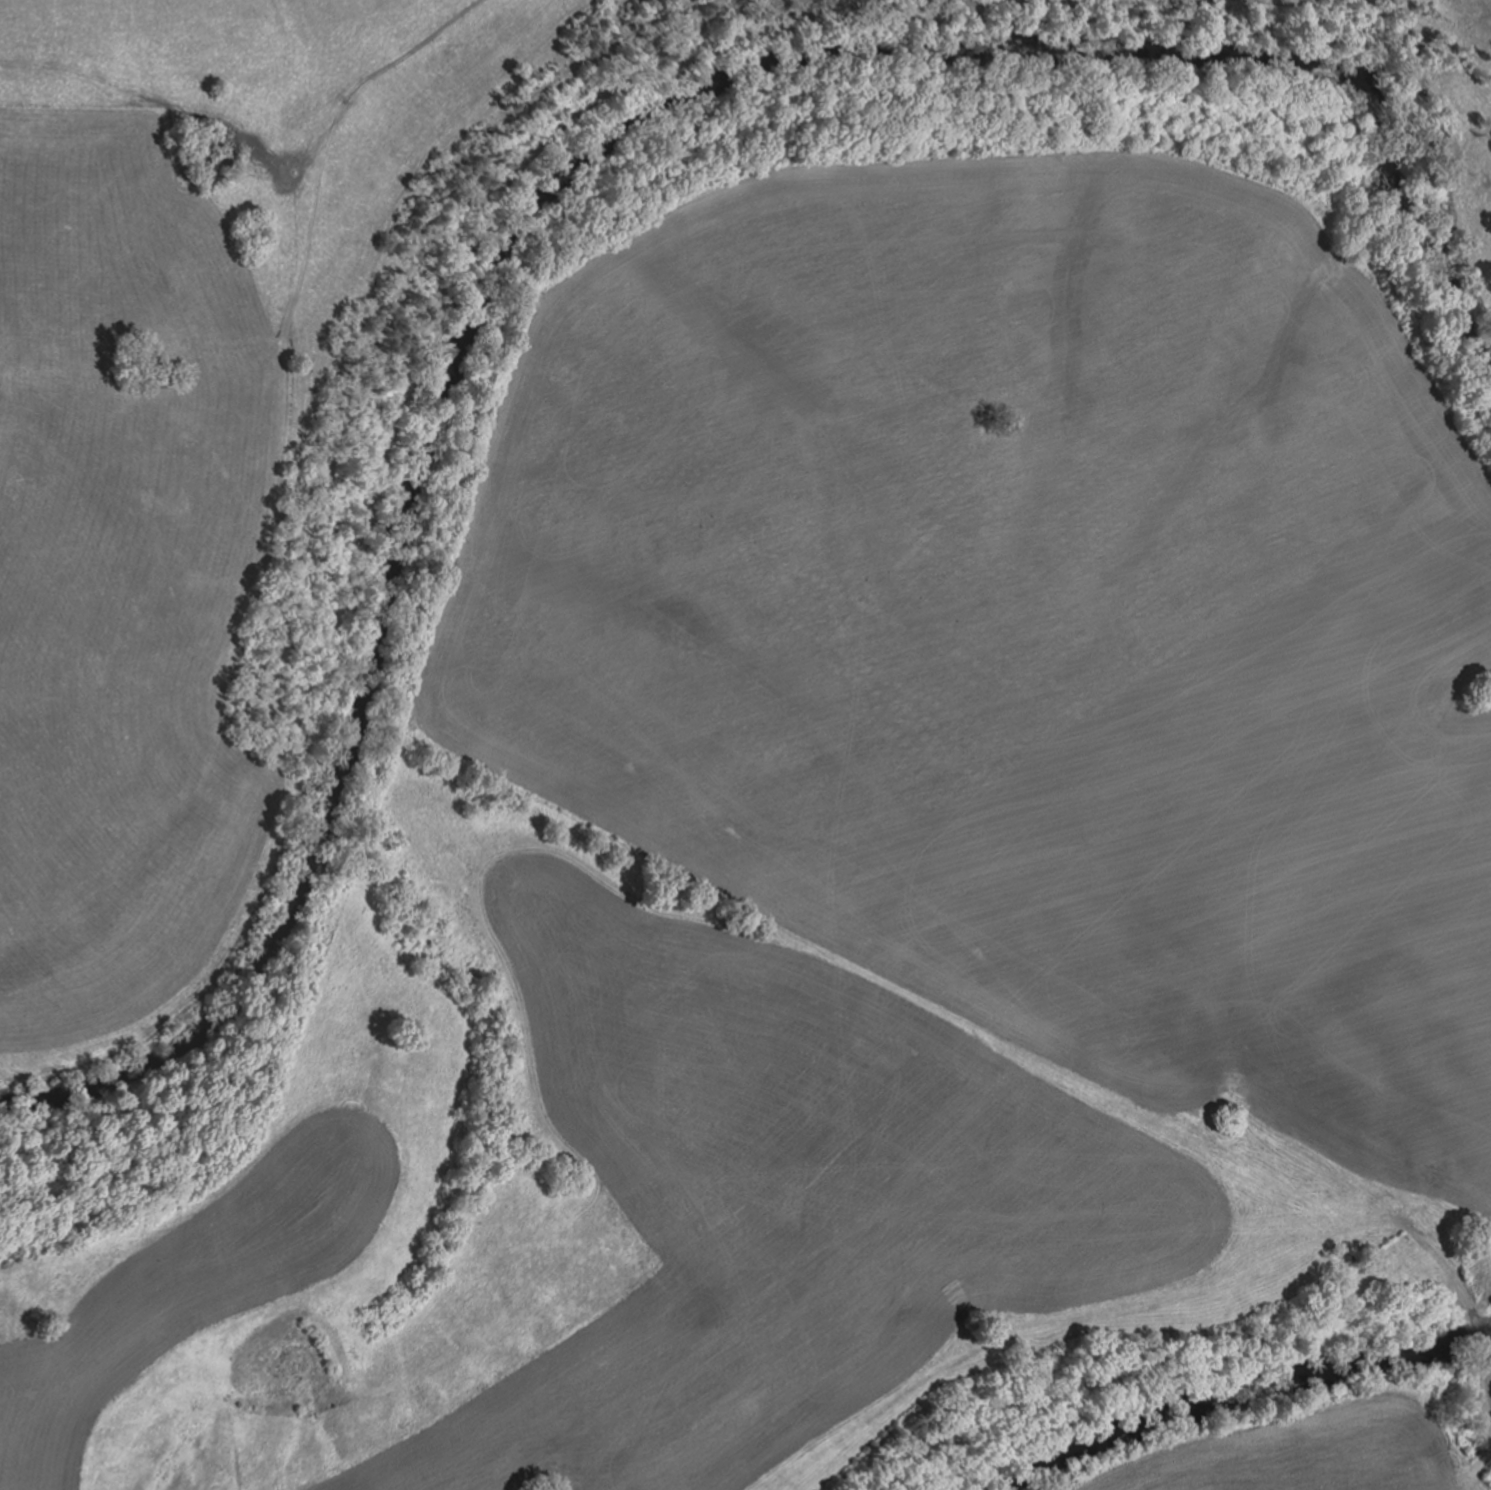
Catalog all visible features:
road: (383, 45)
building: (15, 119)
river: (562, 156)
river: (1222, 1382)

